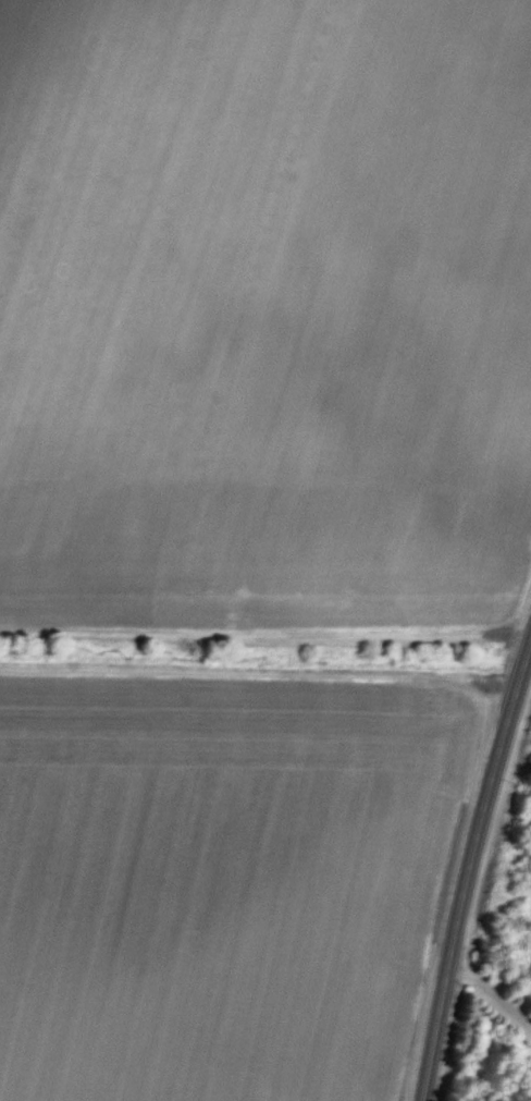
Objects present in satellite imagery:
road: (465, 863)
road: (487, 989)

